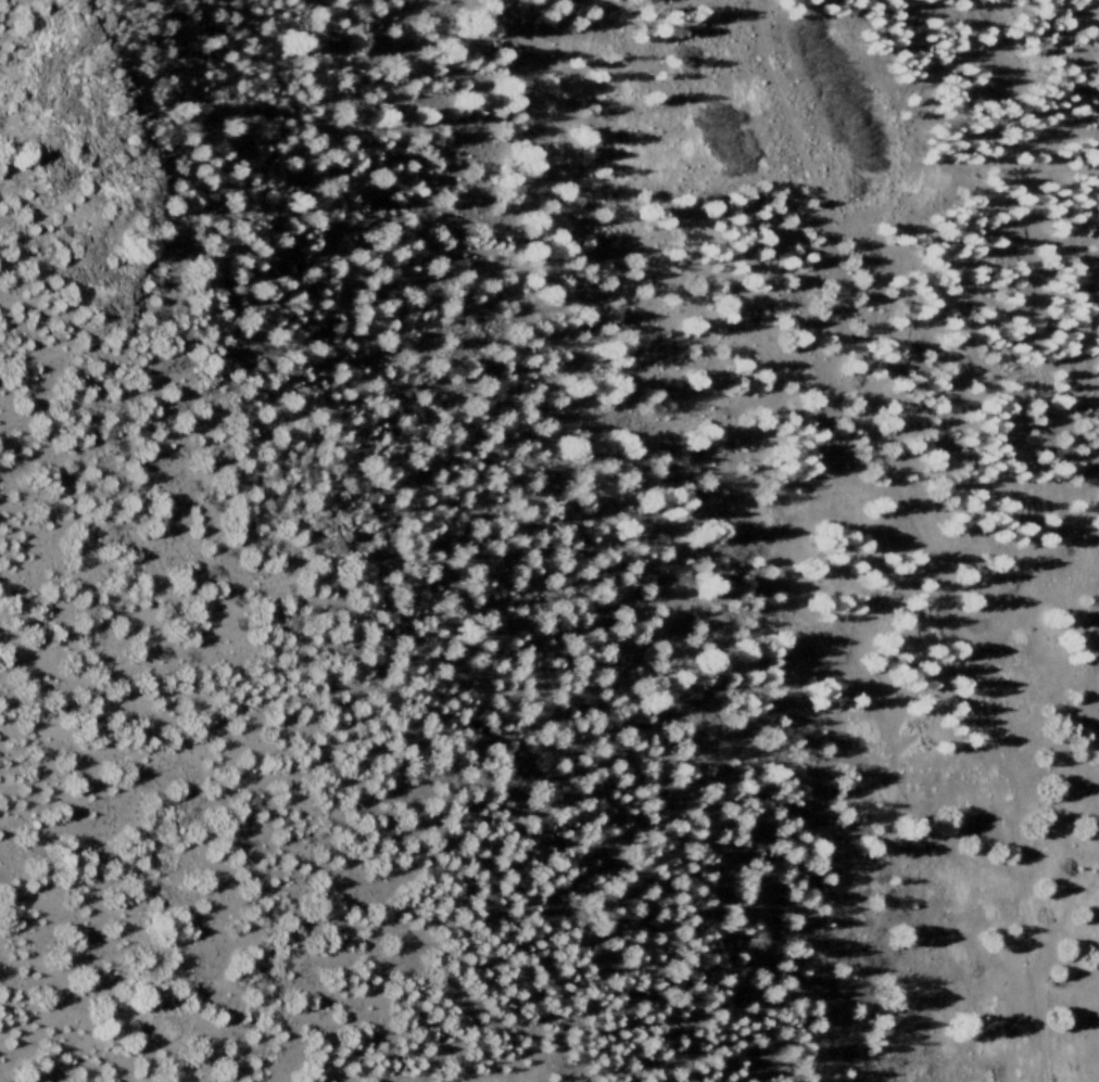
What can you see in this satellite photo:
road: (1041, 1039)

